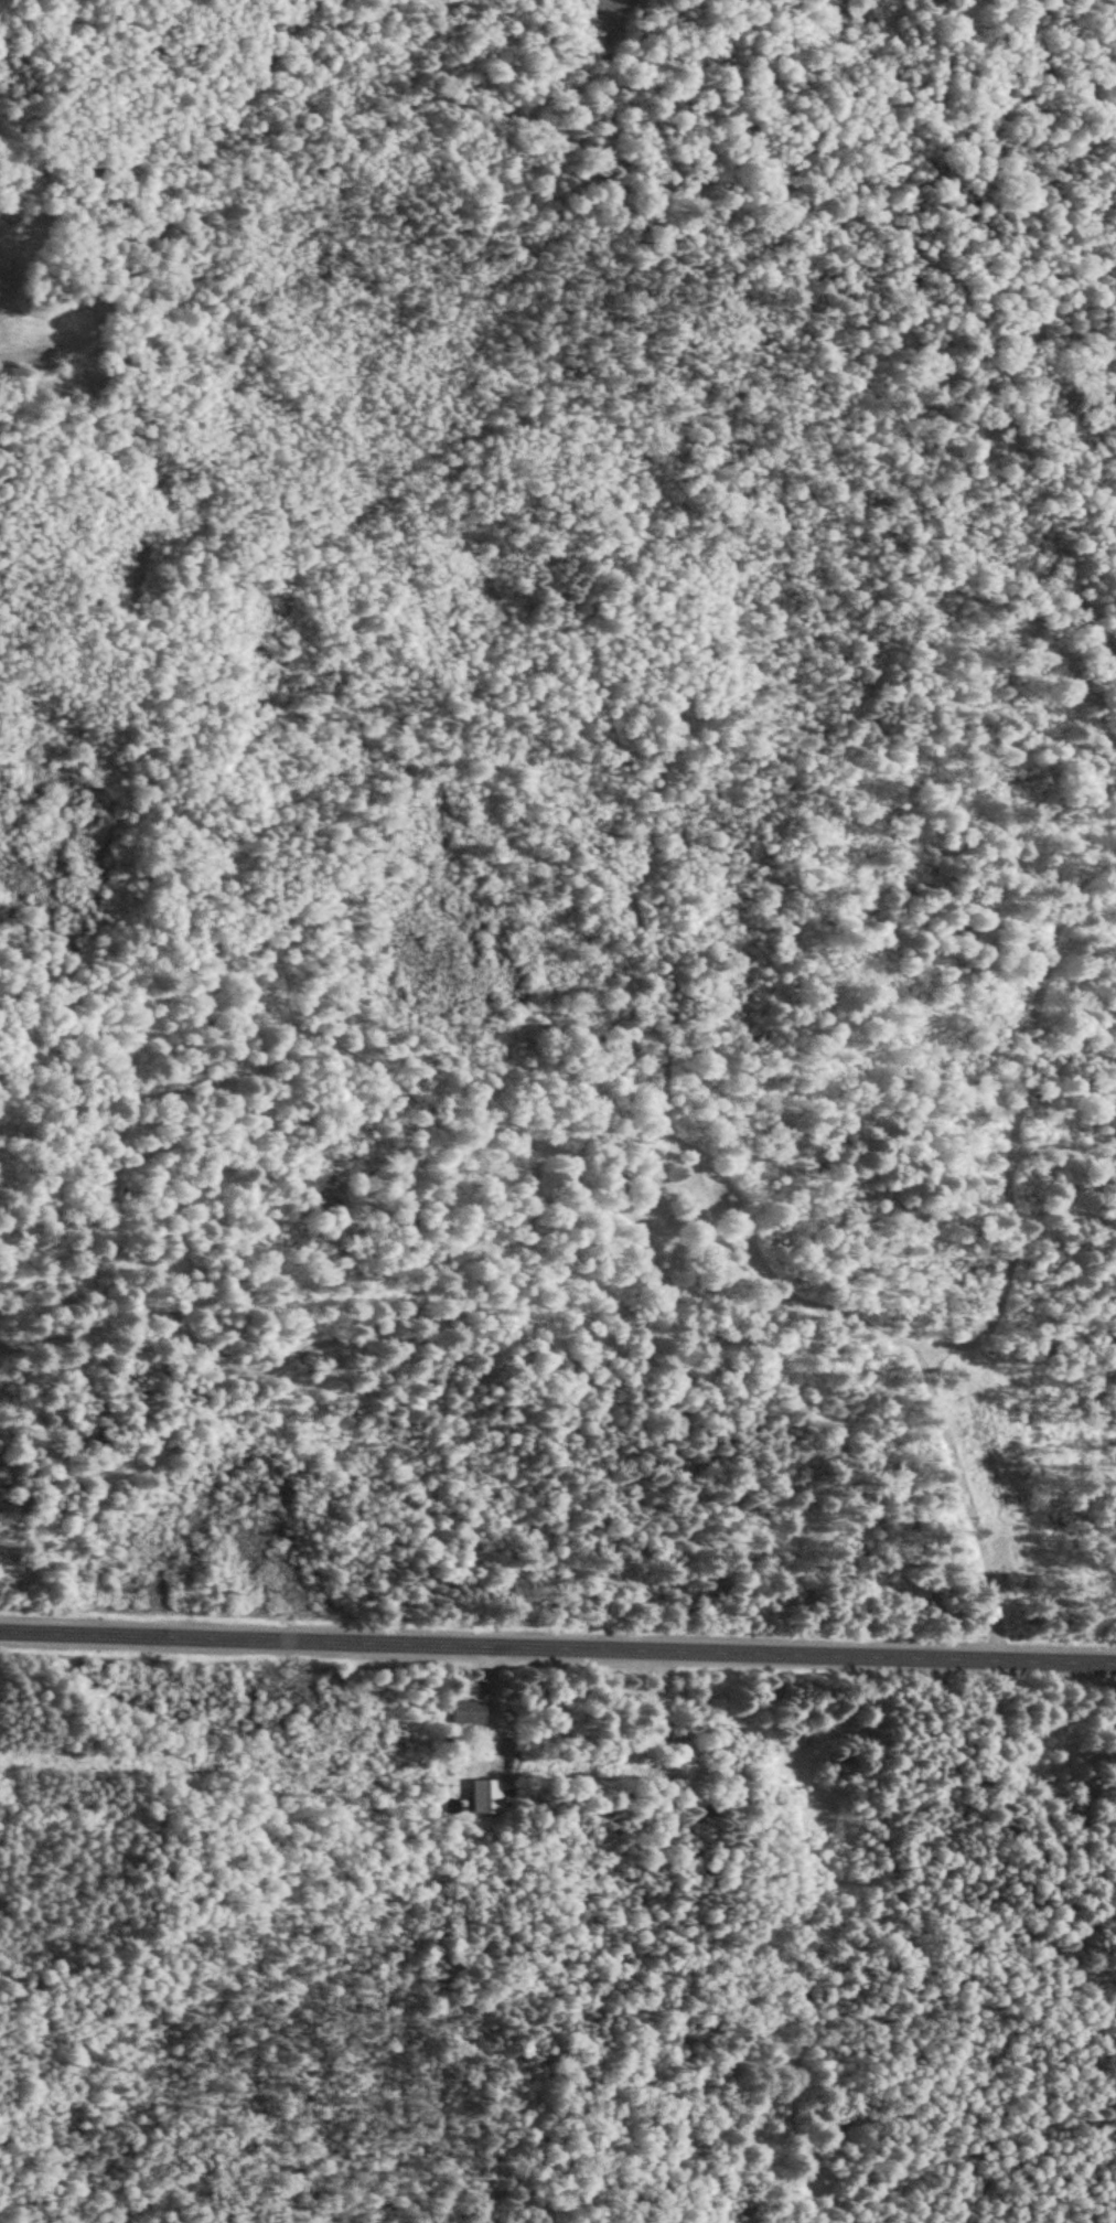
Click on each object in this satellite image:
road: (558, 1644)
building: (471, 1712)

